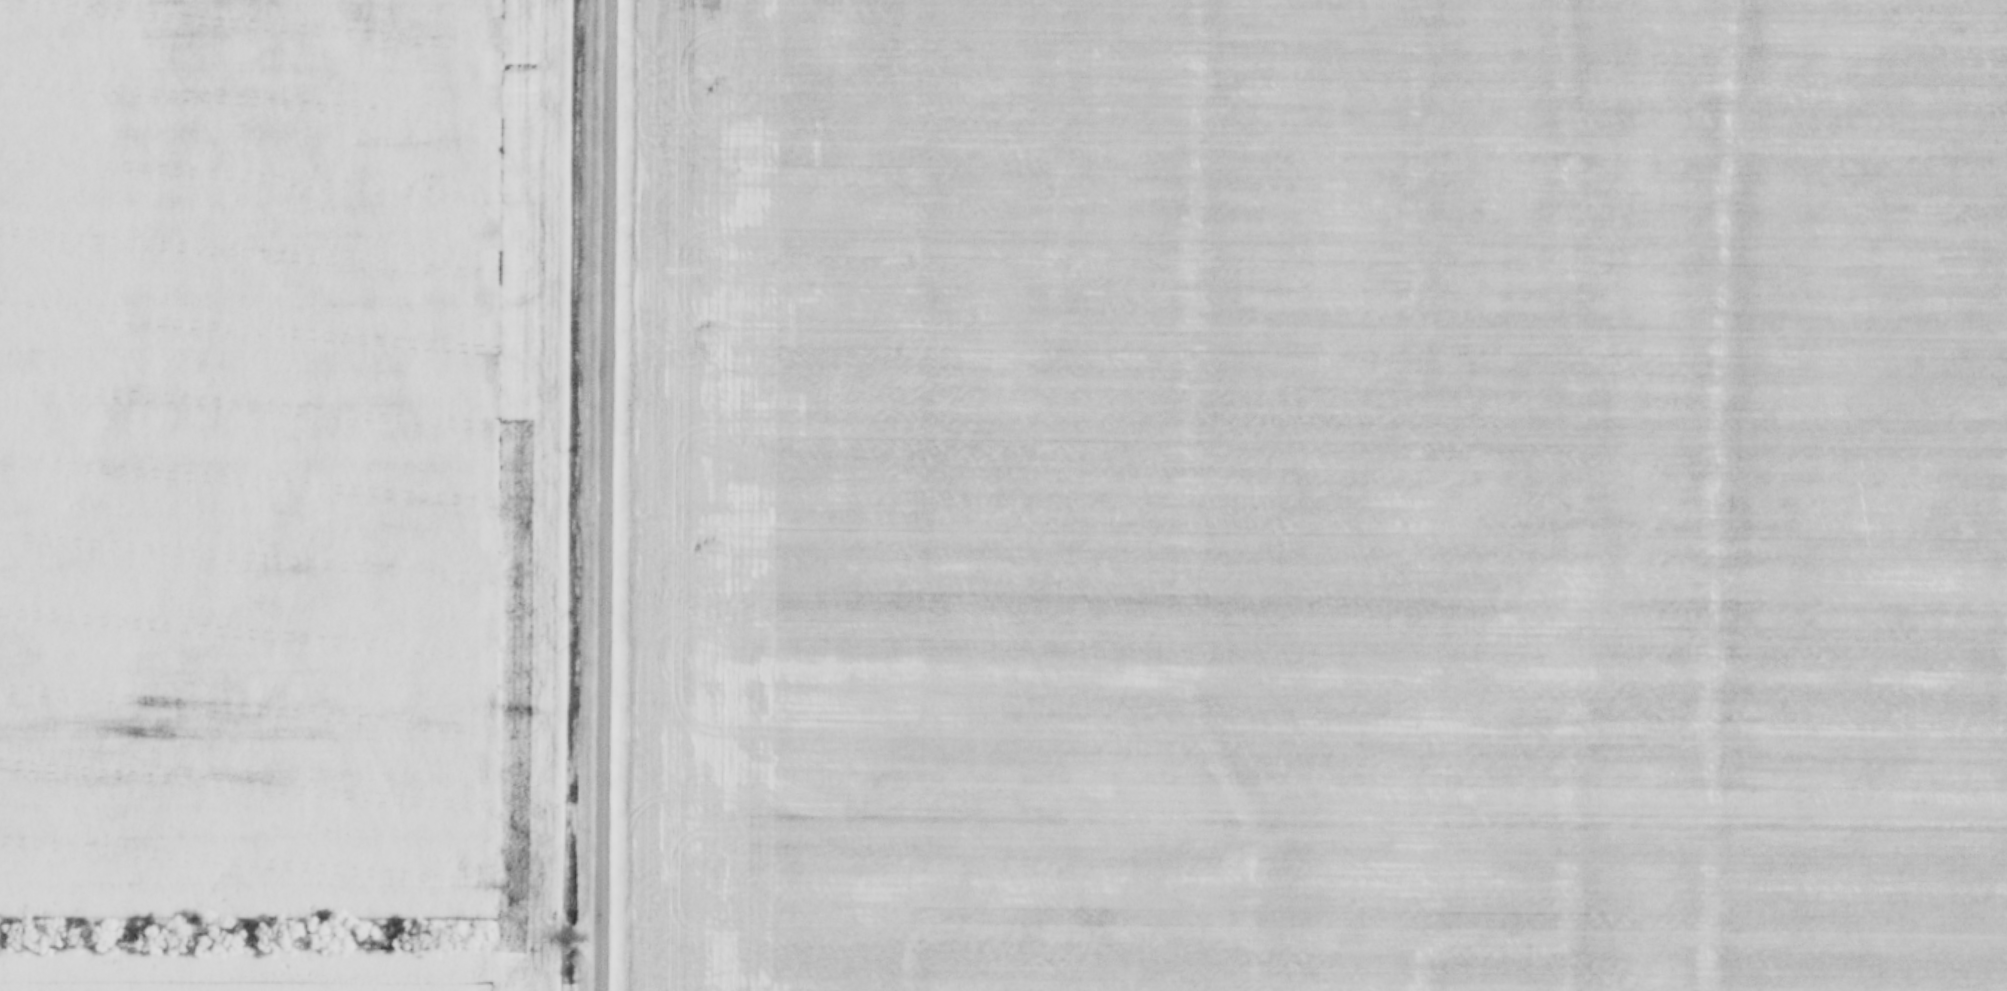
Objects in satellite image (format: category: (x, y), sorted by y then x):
road: (606, 495)

